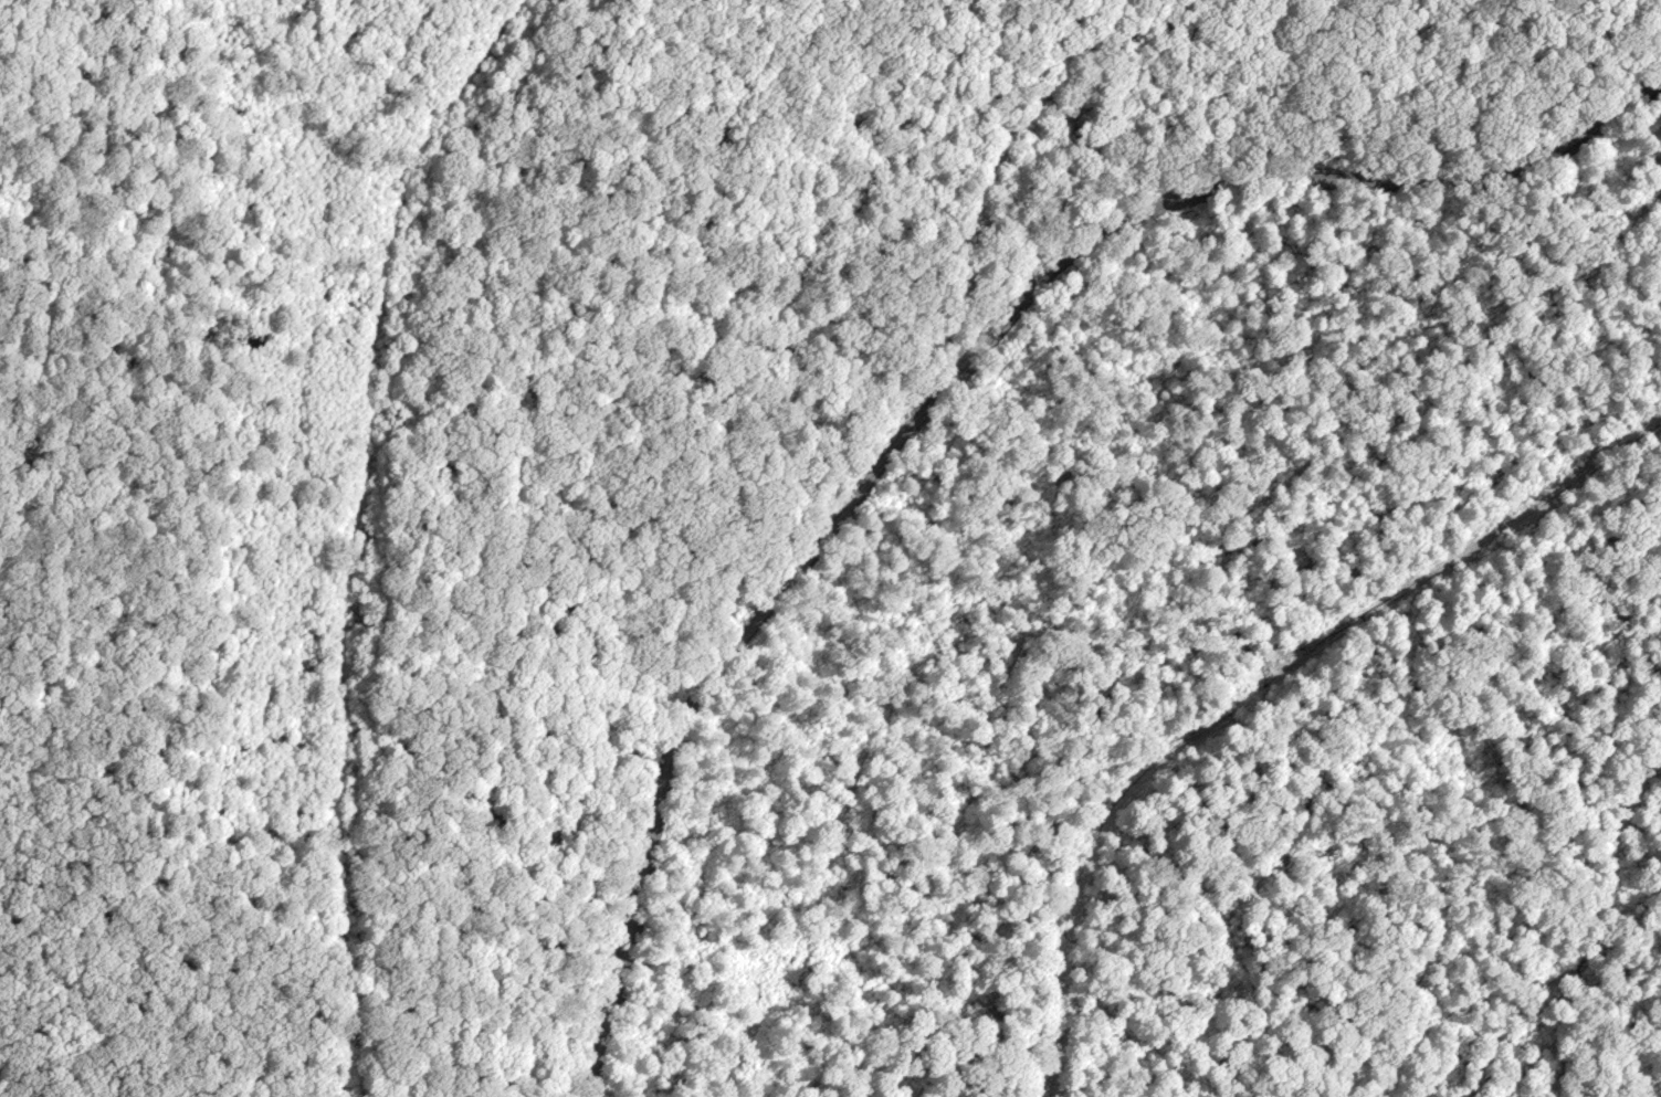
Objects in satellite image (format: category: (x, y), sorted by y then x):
road: (945, 386)

